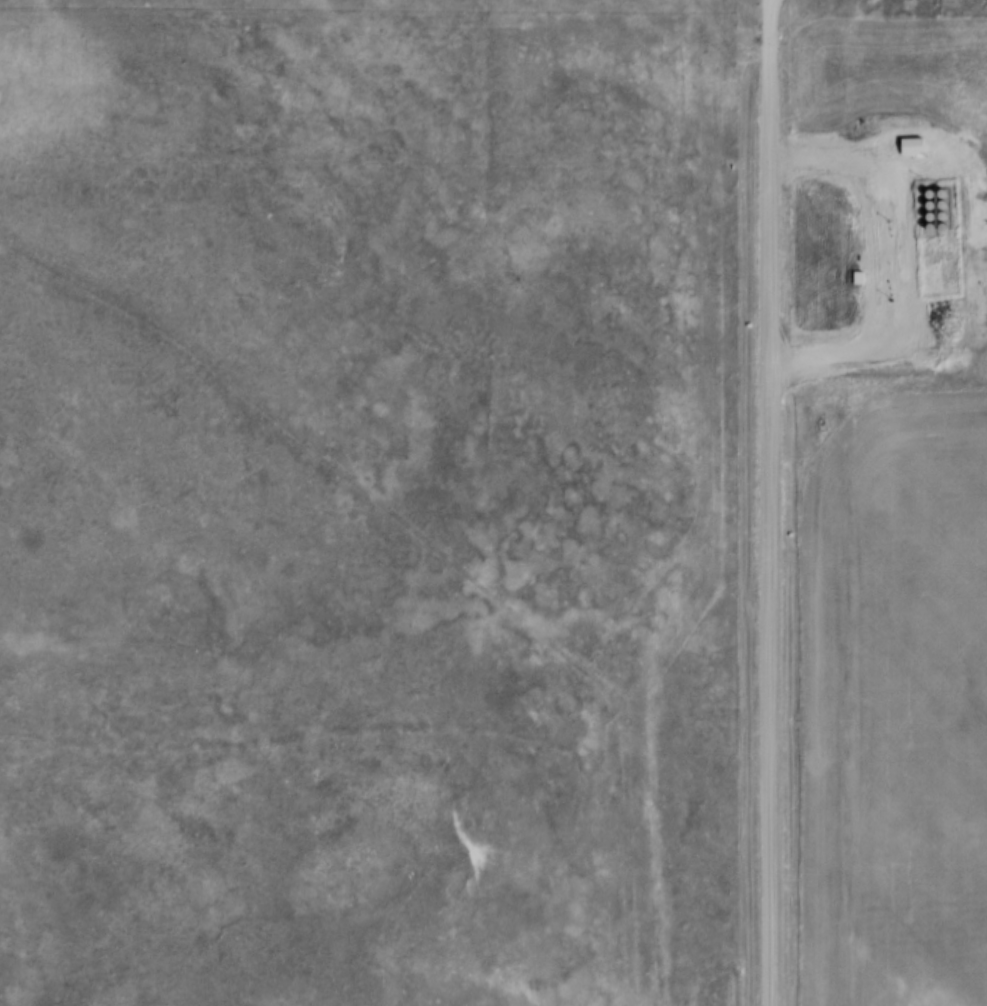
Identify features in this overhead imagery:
building: (917, 149)
road: (769, 502)

